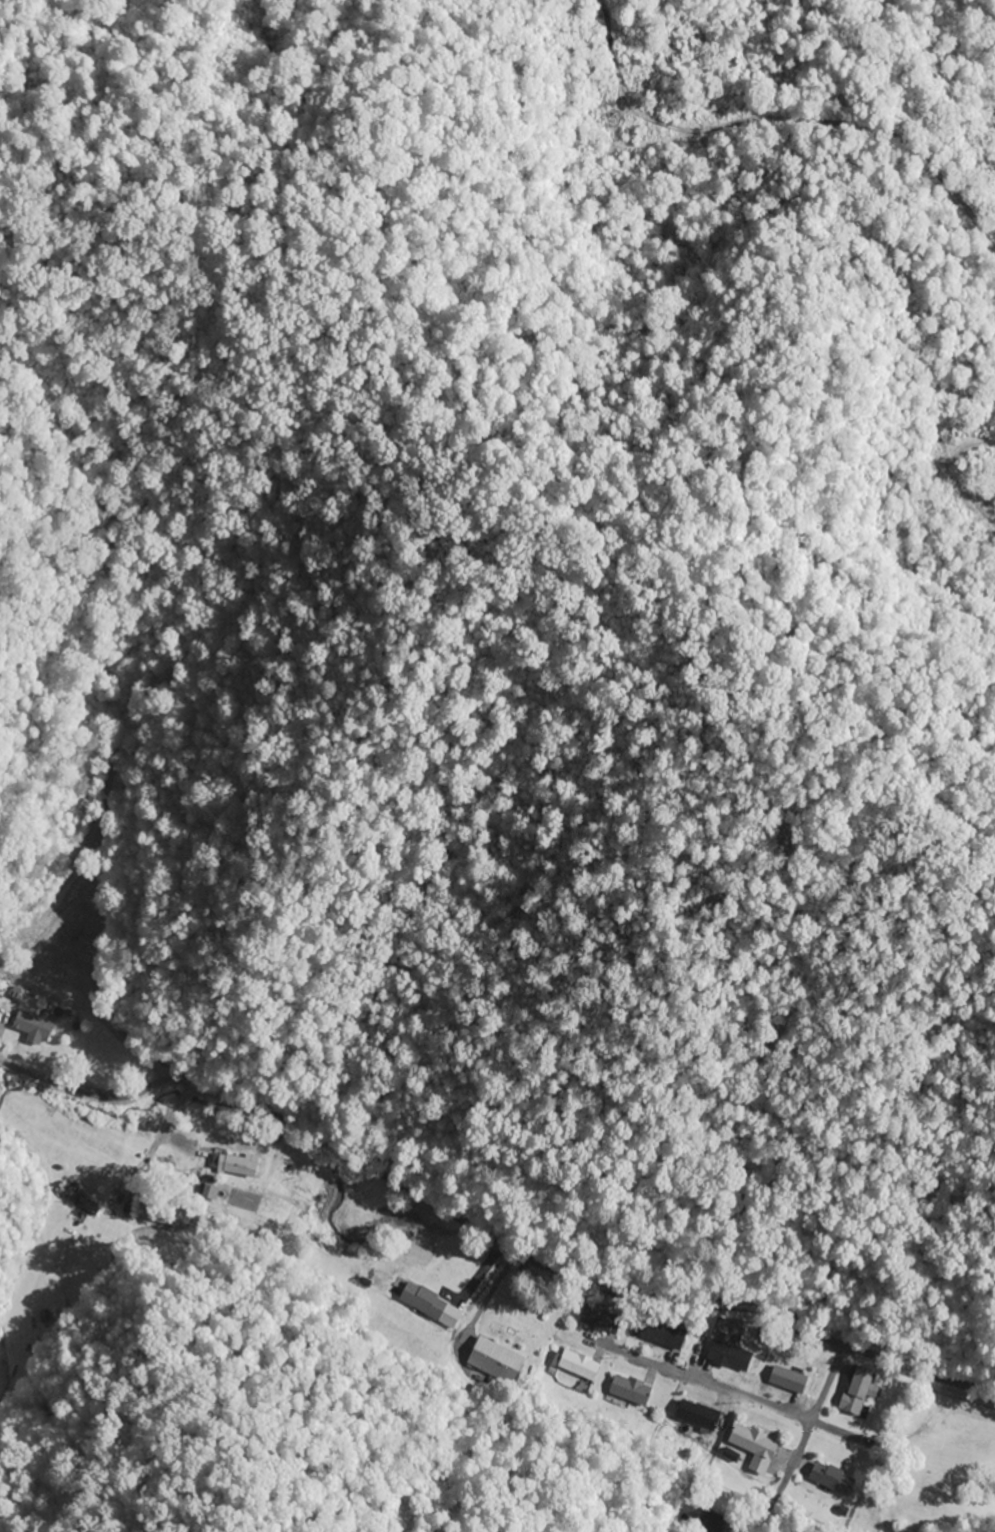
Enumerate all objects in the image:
building: (28, 1024)
building: (229, 1164)
building: (78, 1201)
road: (488, 1234)
building: (427, 1303)
building: (728, 1357)
building: (495, 1361)
building: (578, 1365)
building: (786, 1380)
road: (745, 1388)
building: (855, 1391)
building: (629, 1393)
building: (695, 1416)
building: (747, 1439)
building: (831, 1479)

